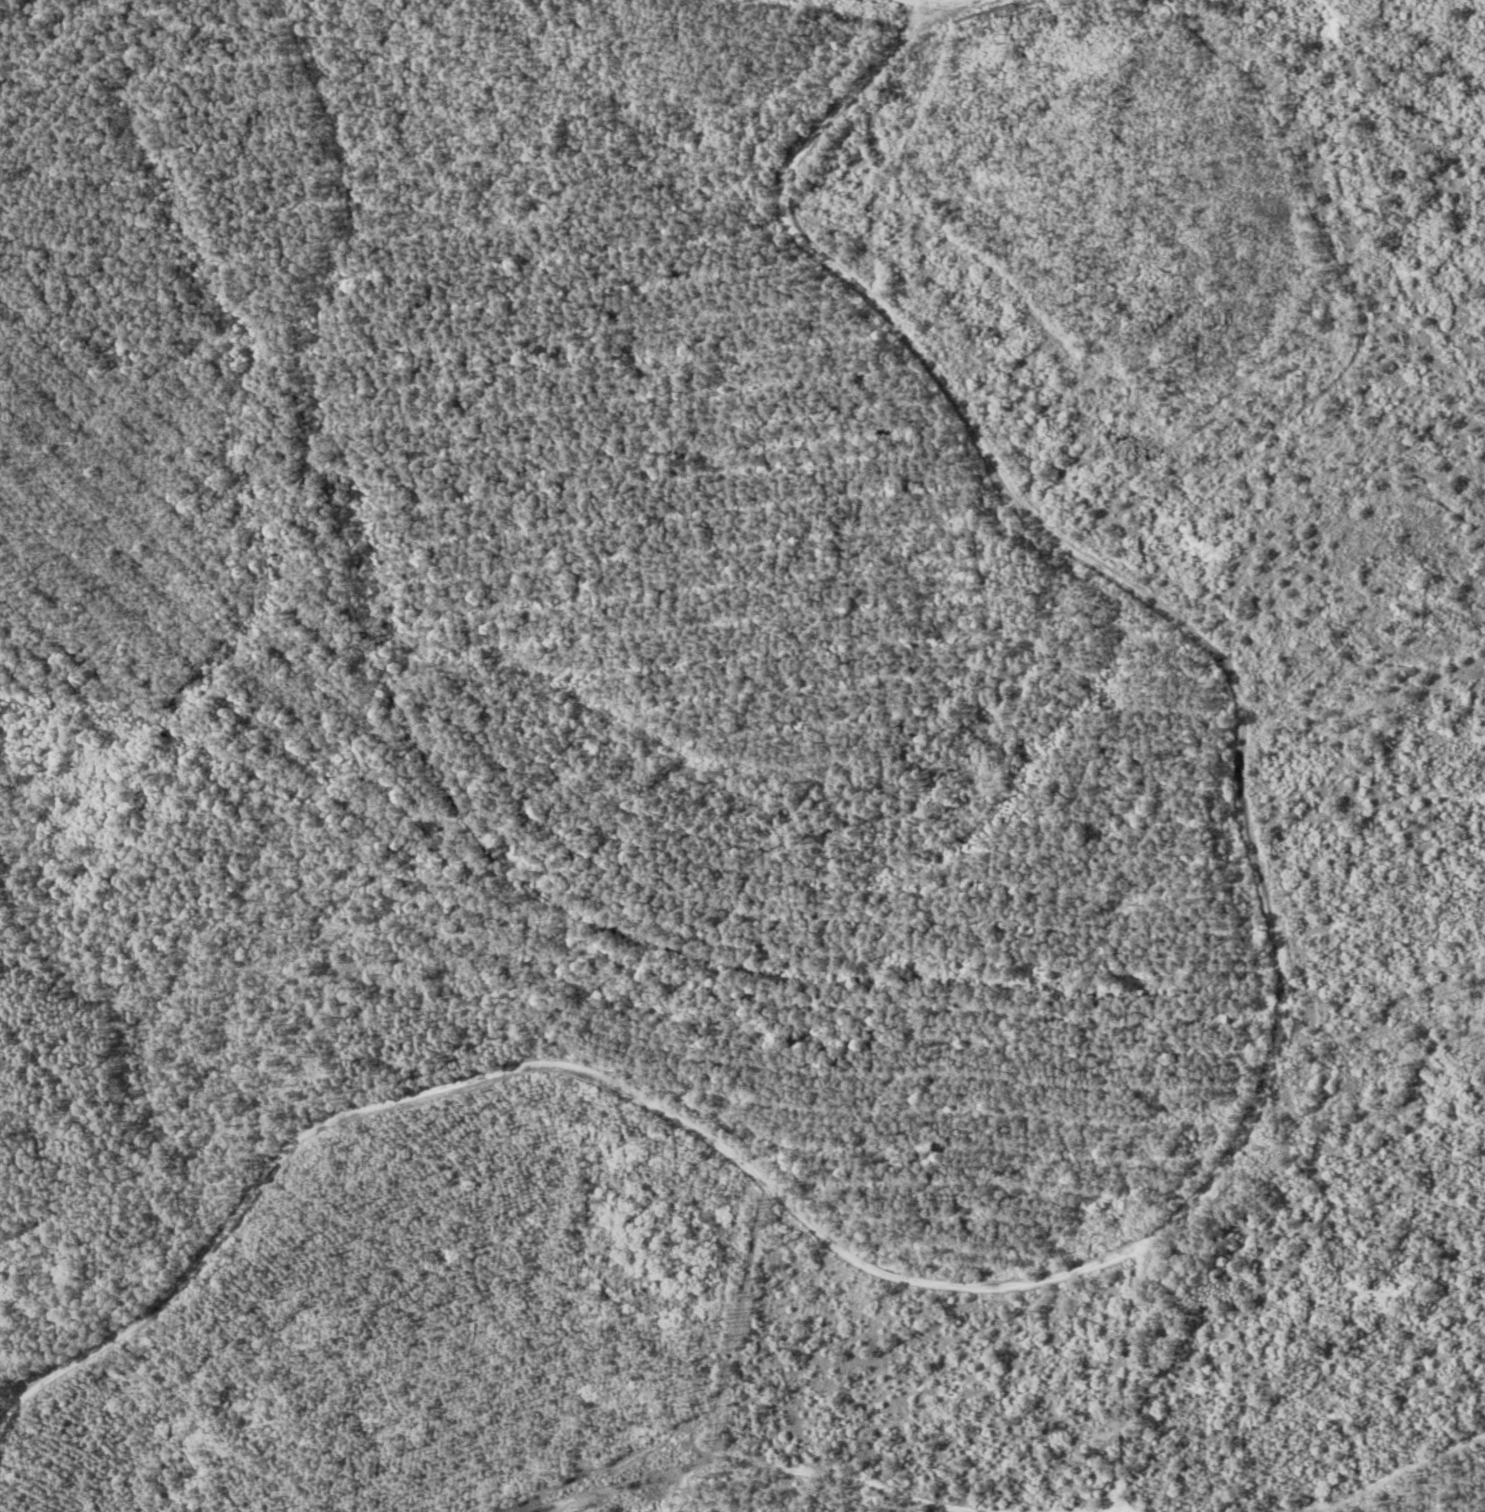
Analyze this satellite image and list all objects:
road: (1227, 1183)
road: (817, 1464)
road: (1376, 1477)

